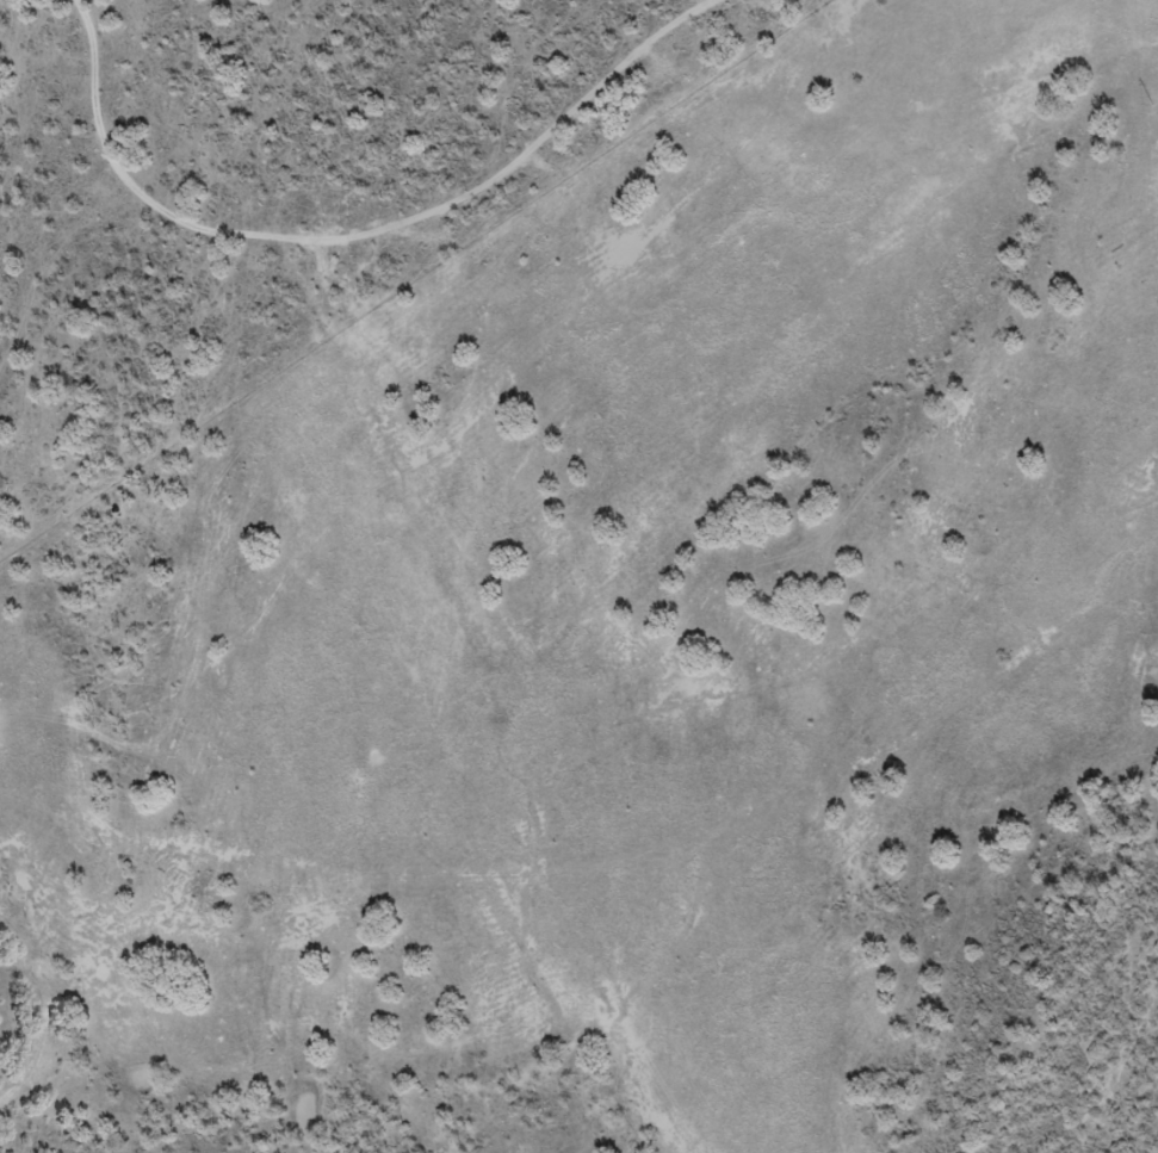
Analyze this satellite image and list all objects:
road: (391, 271)

